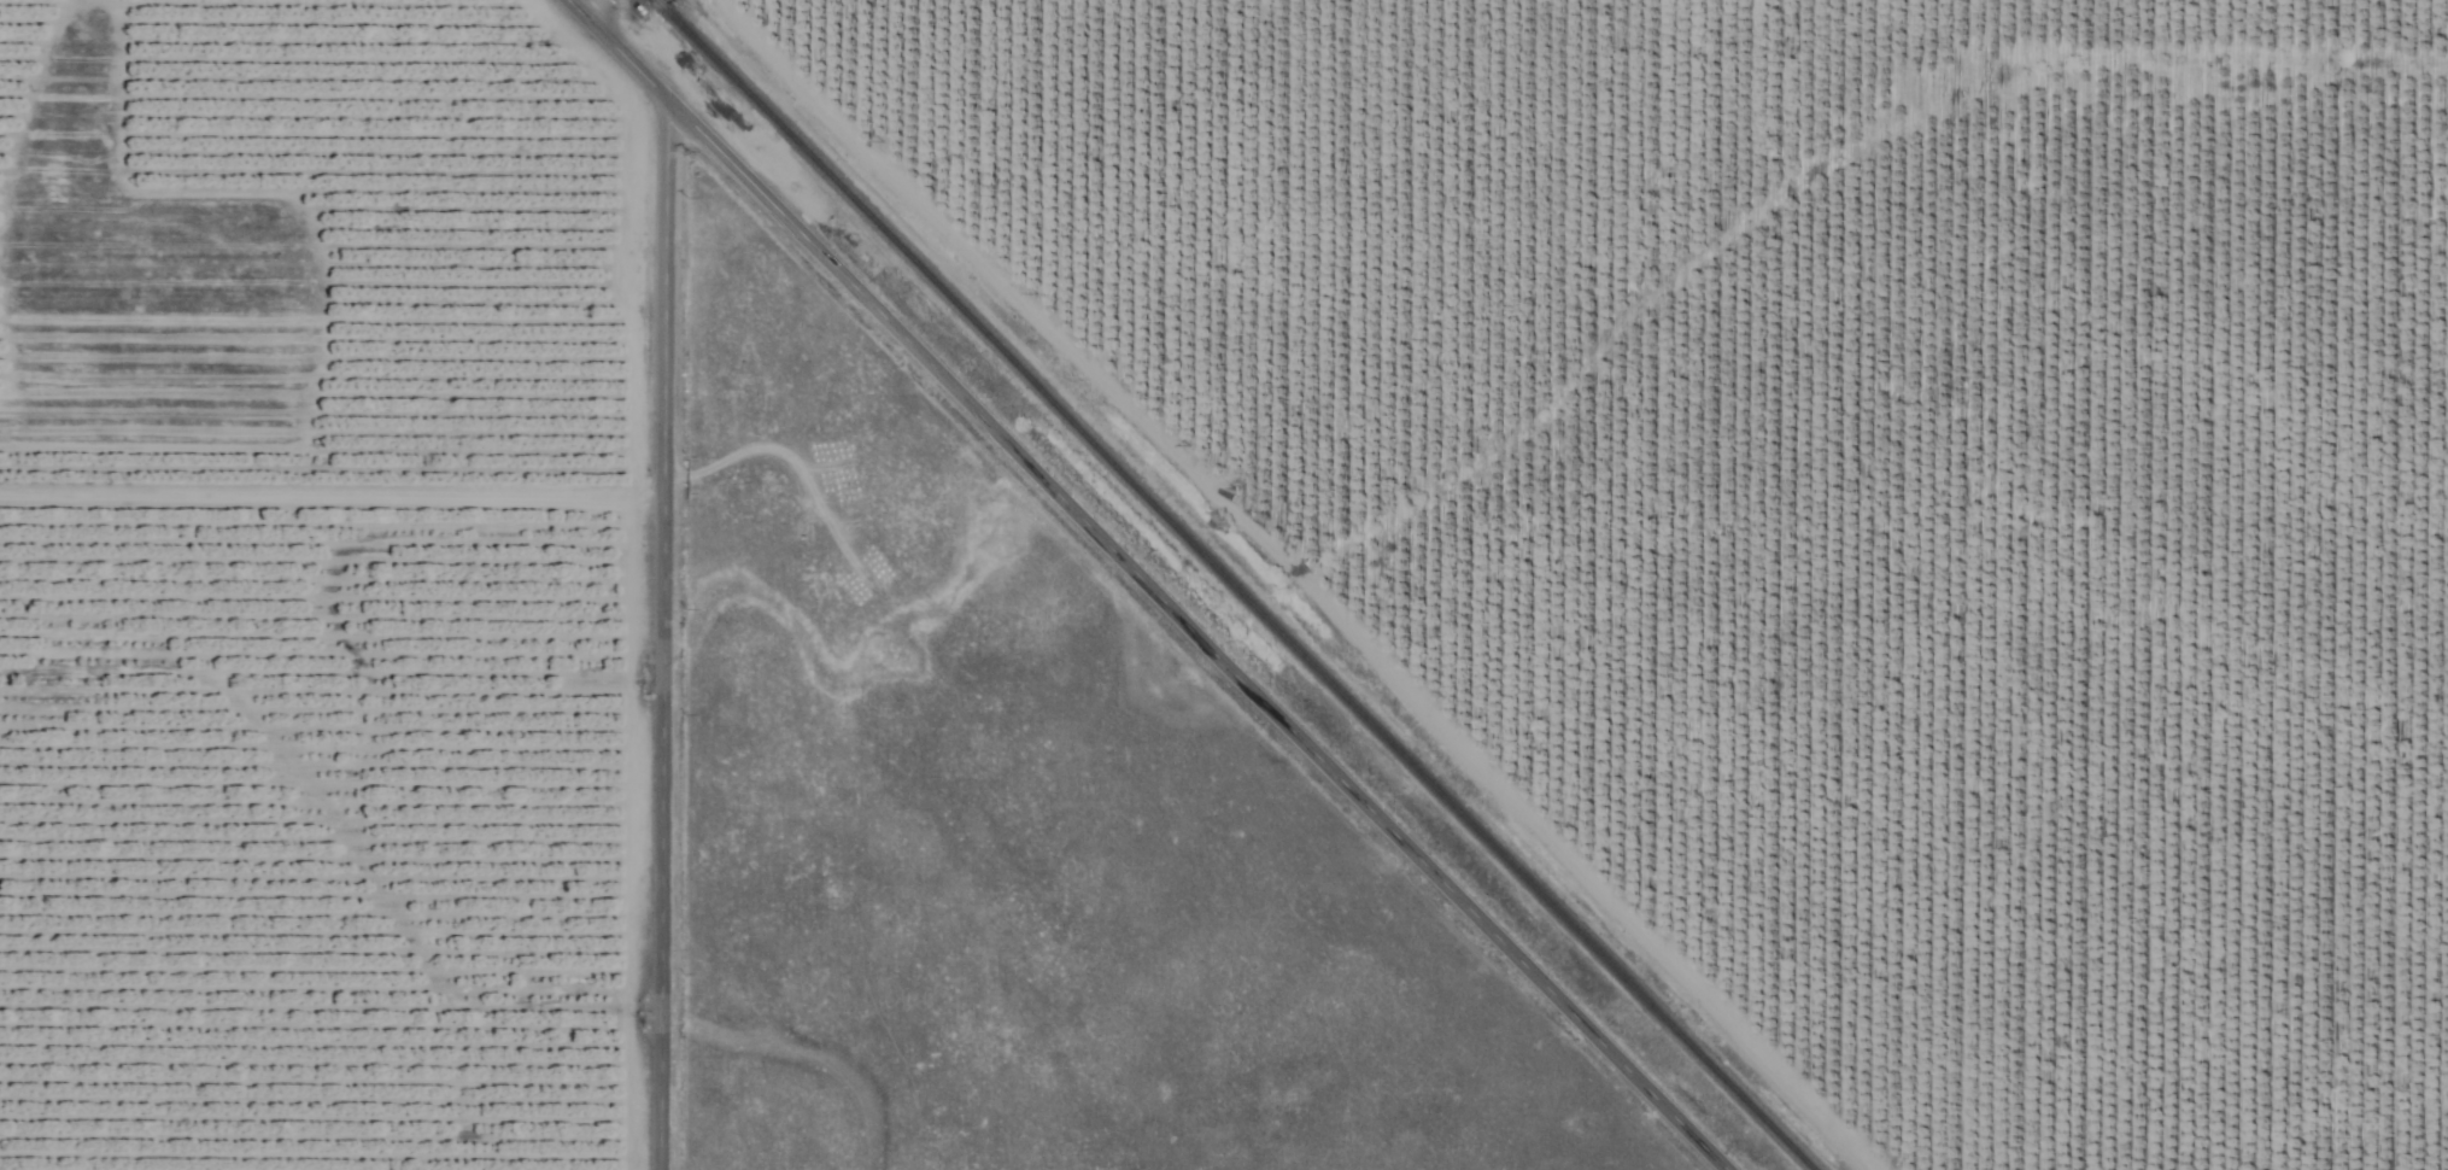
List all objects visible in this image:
road: (599, 13)
crop: (1811, 489)
crop: (317, 584)
road: (1144, 584)
railway: (1231, 585)
road: (672, 634)

